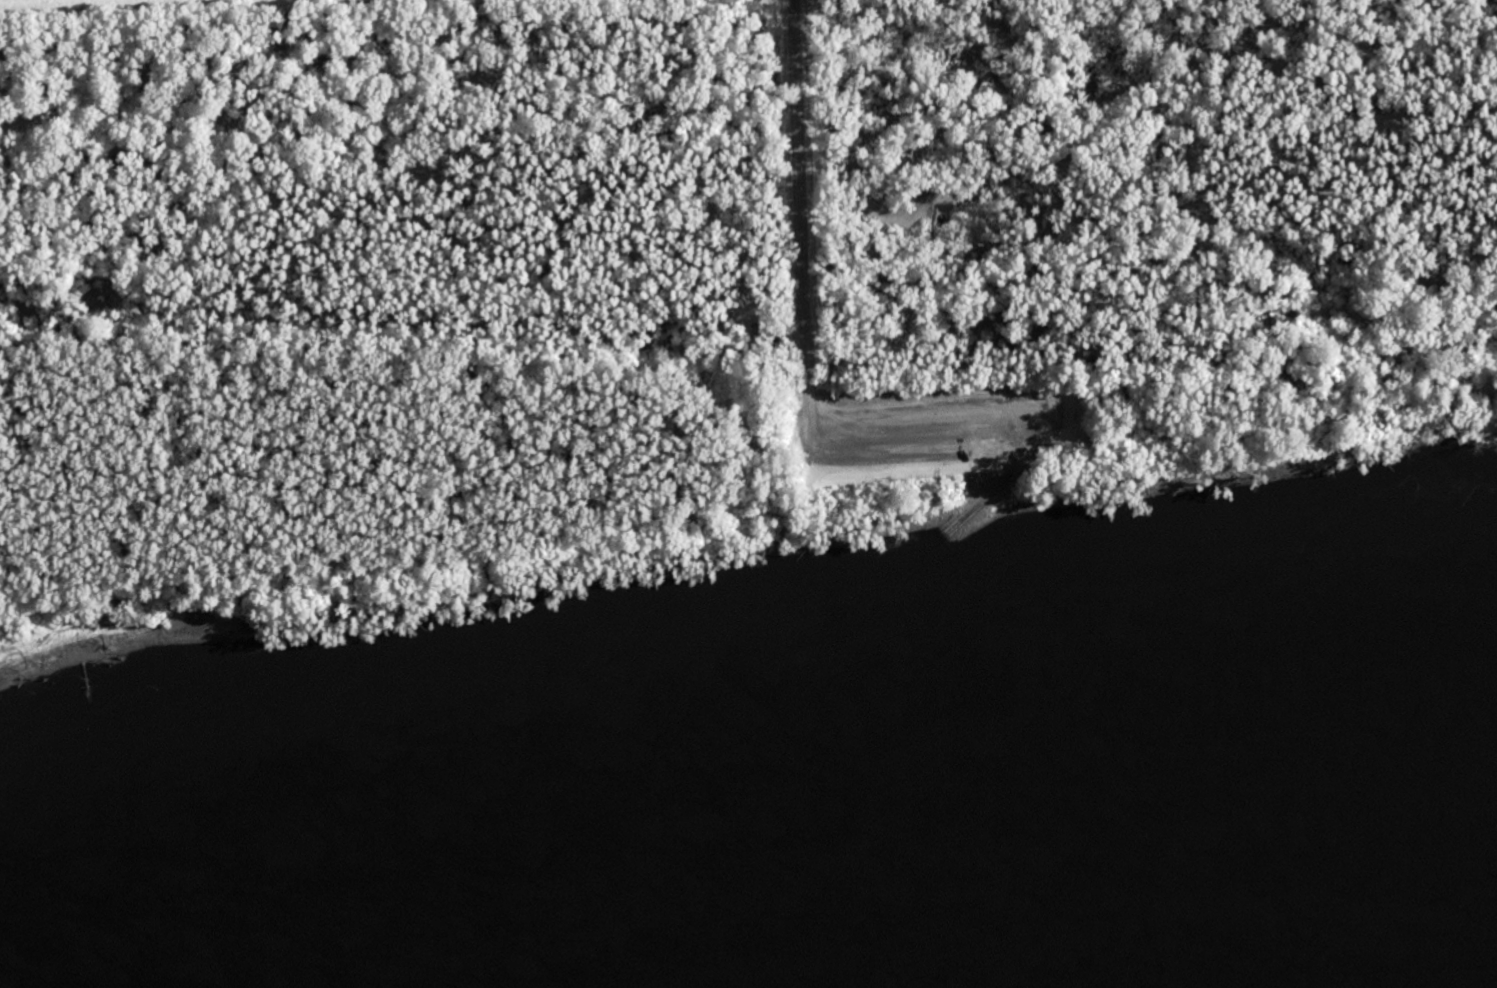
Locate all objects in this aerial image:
road: (809, 334)

